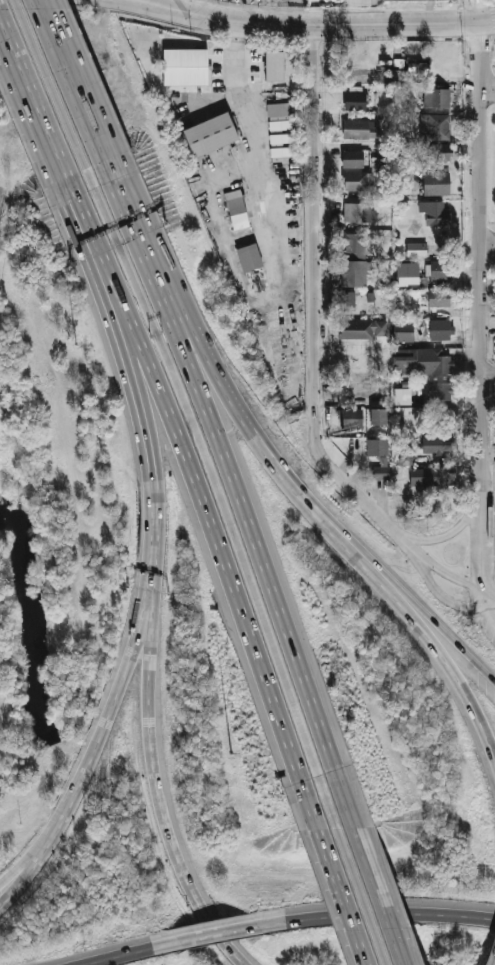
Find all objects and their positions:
building: (418, 0)
building: (347, 2)
road: (178, 7)
road: (154, 8)
road: (201, 8)
road: (282, 12)
road: (348, 24)
road: (402, 39)
building: (184, 66)
building: (273, 66)
road: (486, 89)
road: (82, 94)
road: (56, 97)
building: (435, 97)
park: (180, 99)
building: (354, 100)
building: (278, 116)
road: (38, 119)
building: (434, 126)
building: (360, 128)
building: (208, 133)
road: (253, 138)
building: (280, 138)
building: (280, 151)
building: (436, 151)
building: (352, 158)
building: (357, 180)
building: (436, 181)
building: (236, 209)
building: (358, 211)
building: (434, 212)
road: (143, 236)
building: (354, 244)
road: (486, 244)
building: (415, 249)
building: (249, 257)
road: (100, 259)
road: (478, 262)
building: (438, 269)
building: (353, 272)
building: (406, 273)
building: (438, 297)
road: (313, 298)
building: (346, 300)
building: (362, 329)
building: (440, 329)
building: (402, 331)
building: (420, 359)
road: (487, 370)
building: (436, 390)
building: (378, 415)
building: (353, 419)
building: (435, 445)
building: (376, 446)
building: (406, 458)
road: (149, 462)
road: (281, 469)
building: (378, 472)
building: (430, 476)
road: (227, 507)
road: (448, 533)
road: (412, 549)
road: (484, 550)
road: (262, 555)
road: (223, 568)
road: (454, 578)
road: (445, 597)
road: (489, 597)
road: (489, 612)
river: (31, 621)
road: (455, 645)
road: (442, 653)
road: (487, 669)
road: (475, 716)
road: (92, 750)
road: (163, 803)
river: (94, 853)
road: (10, 882)
road: (10, 889)
road: (358, 896)
road: (379, 896)
road: (337, 897)
road: (381, 910)
road: (220, 931)
road: (127, 953)

